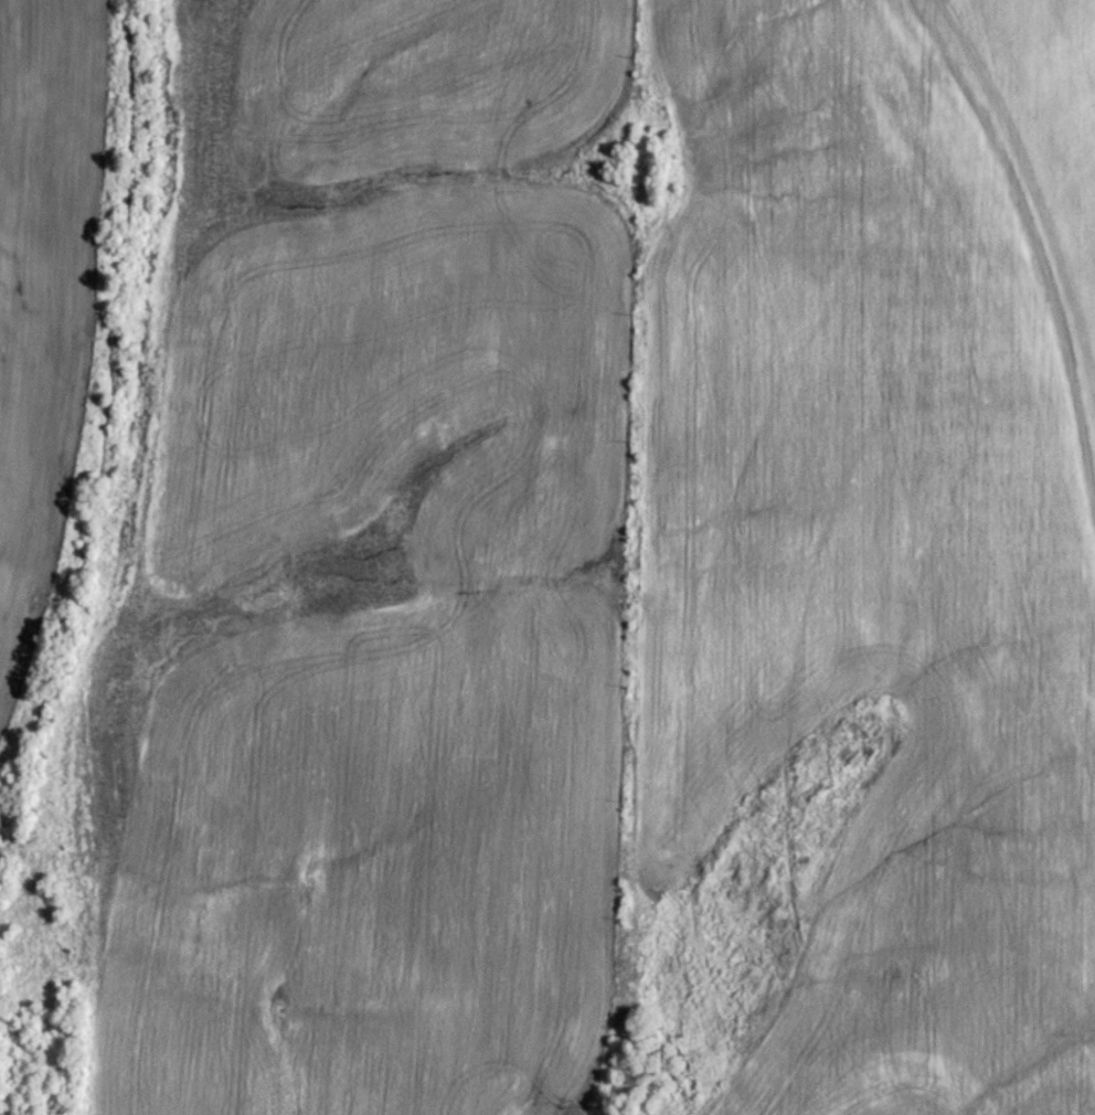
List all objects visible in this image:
road: (1034, 267)

